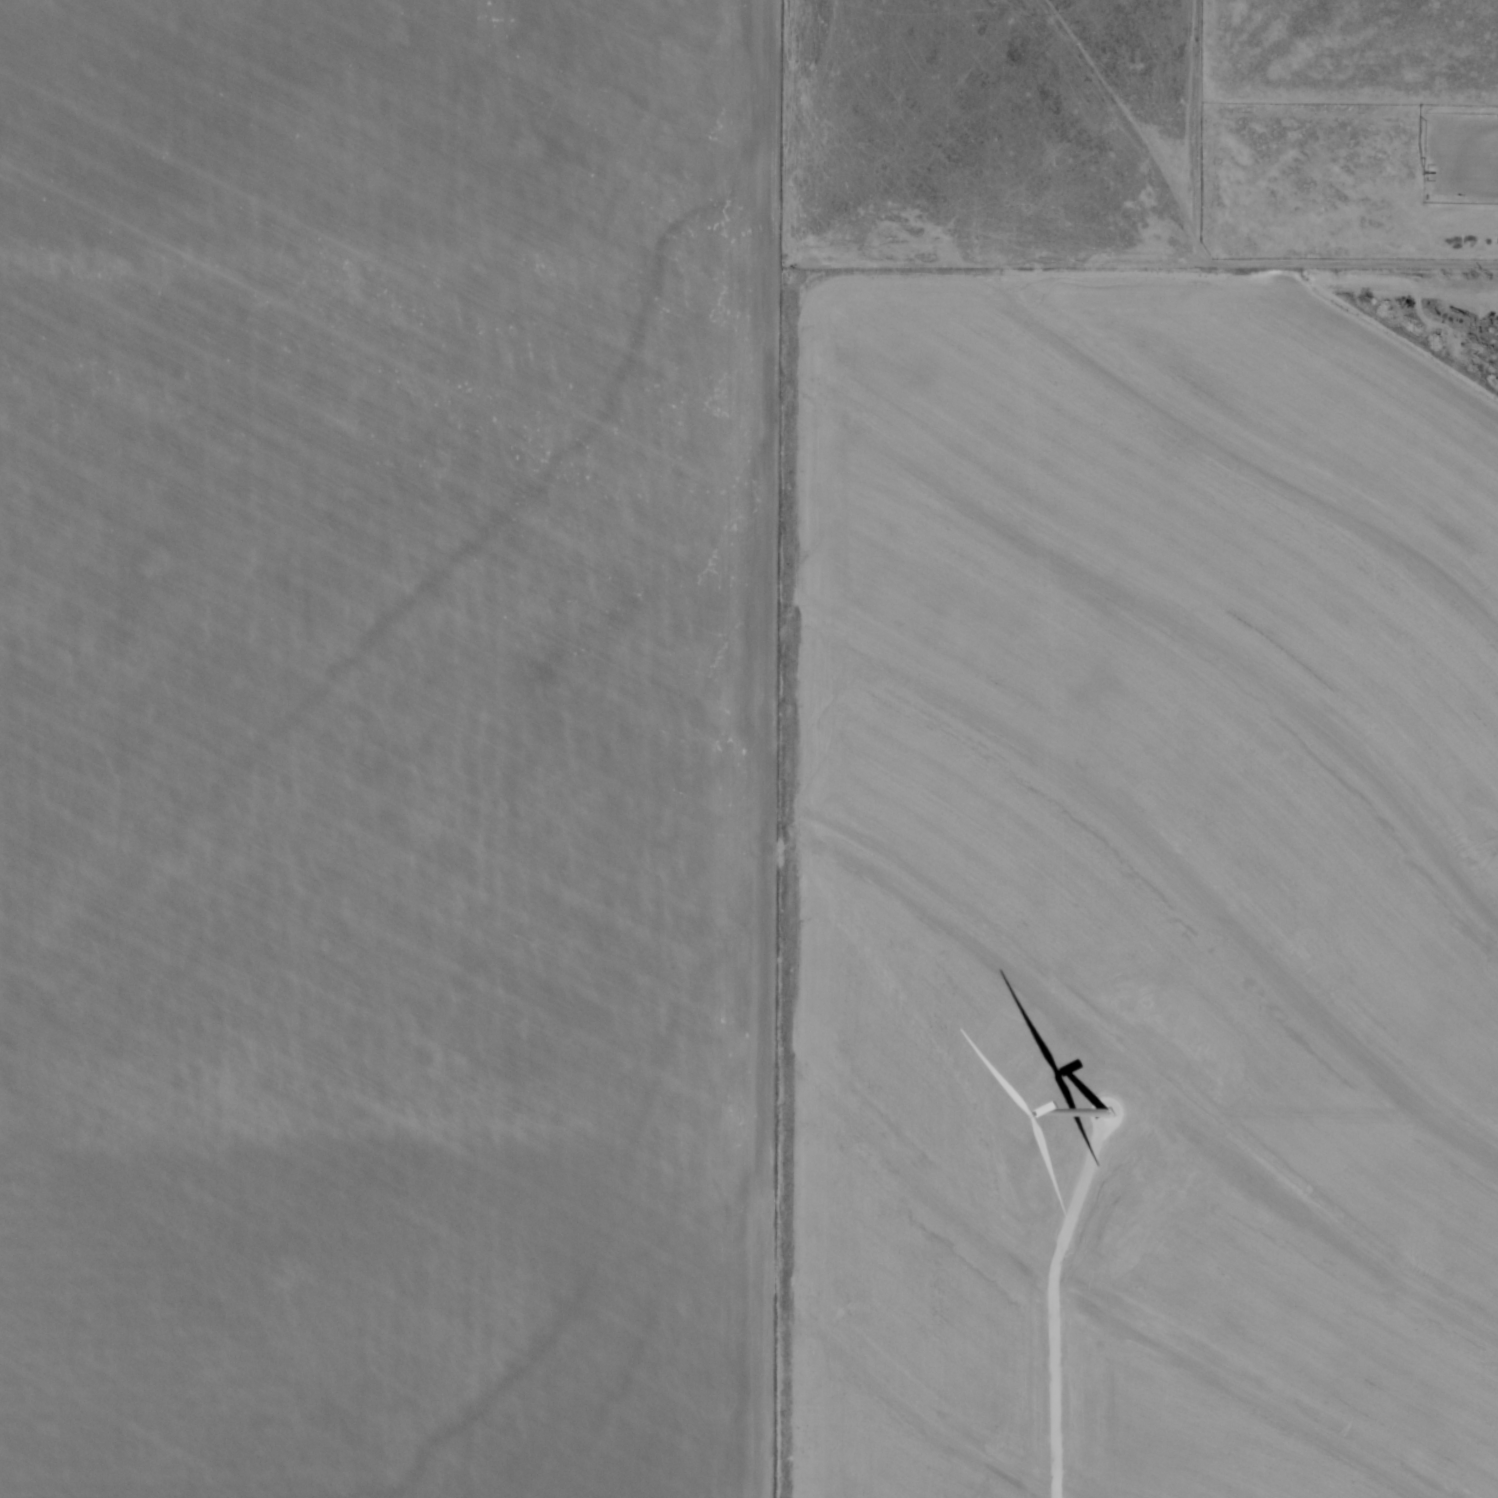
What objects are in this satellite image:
wind turbine: (1097, 1115)

